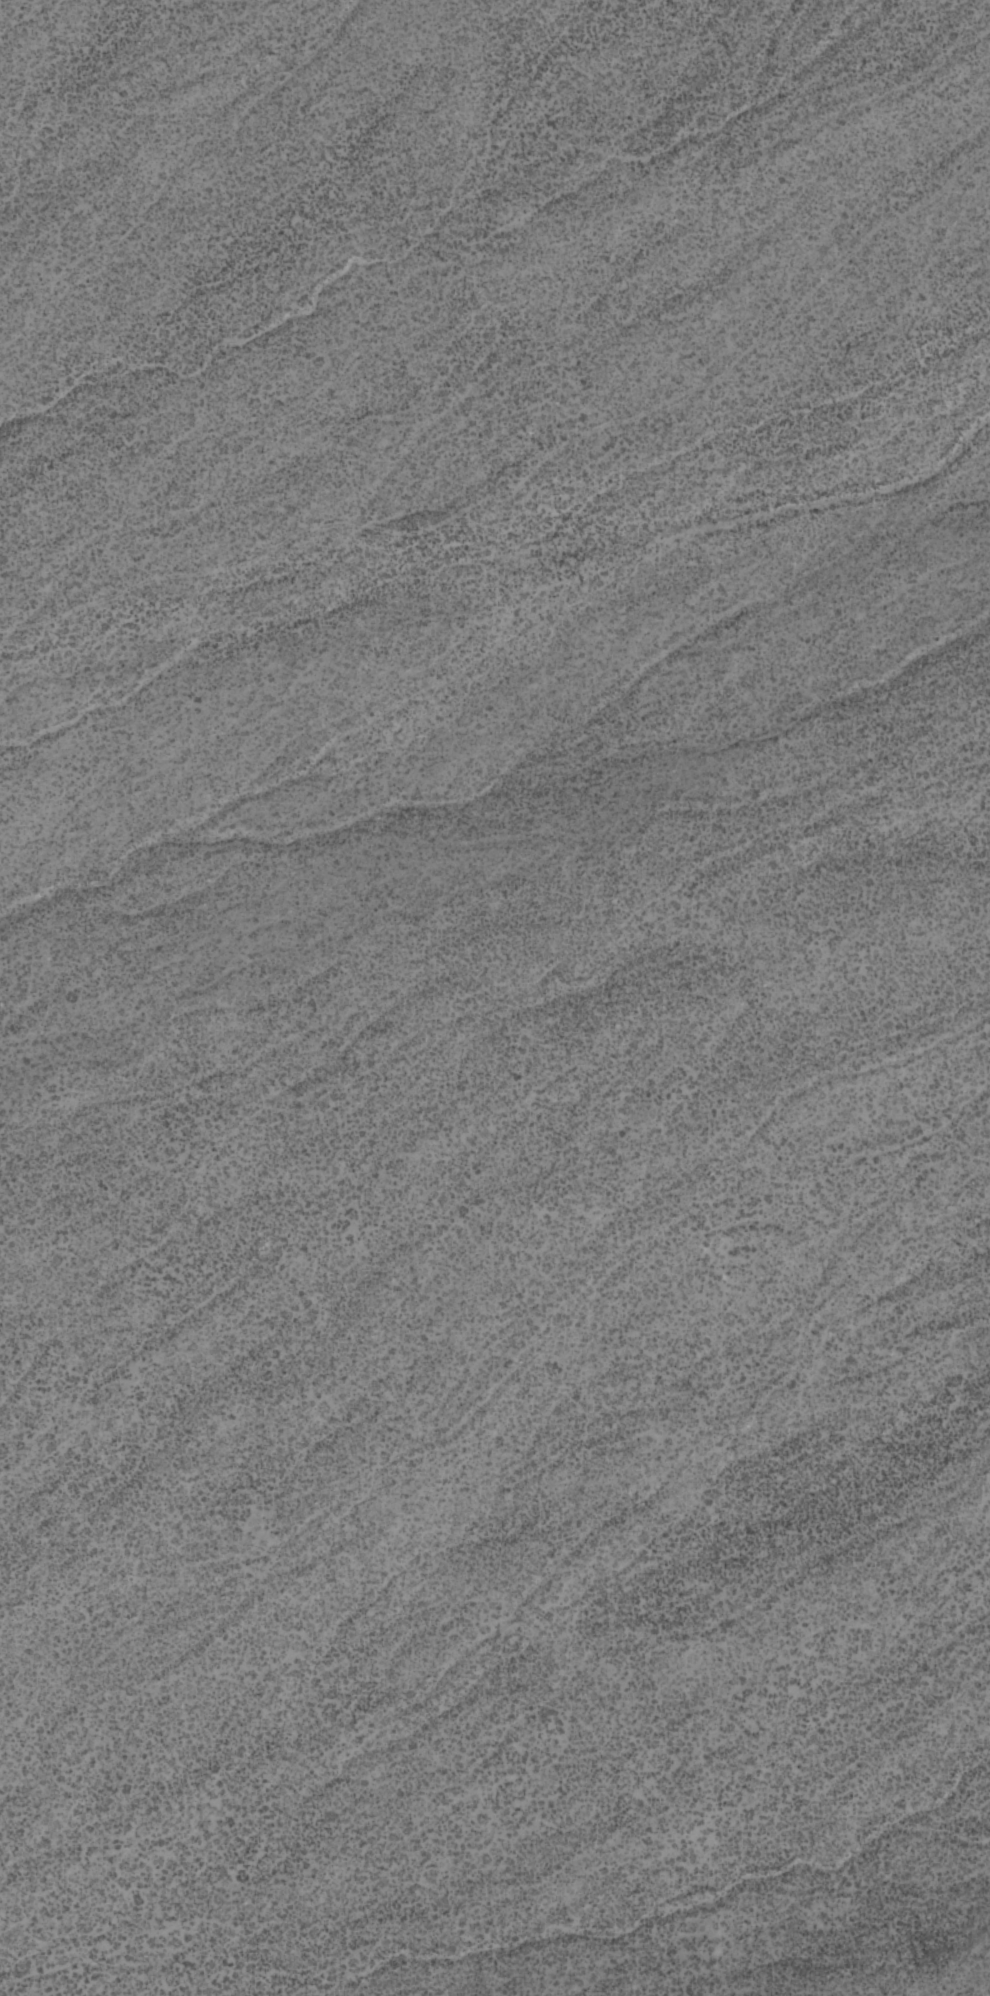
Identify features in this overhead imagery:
road: (529, 472)

